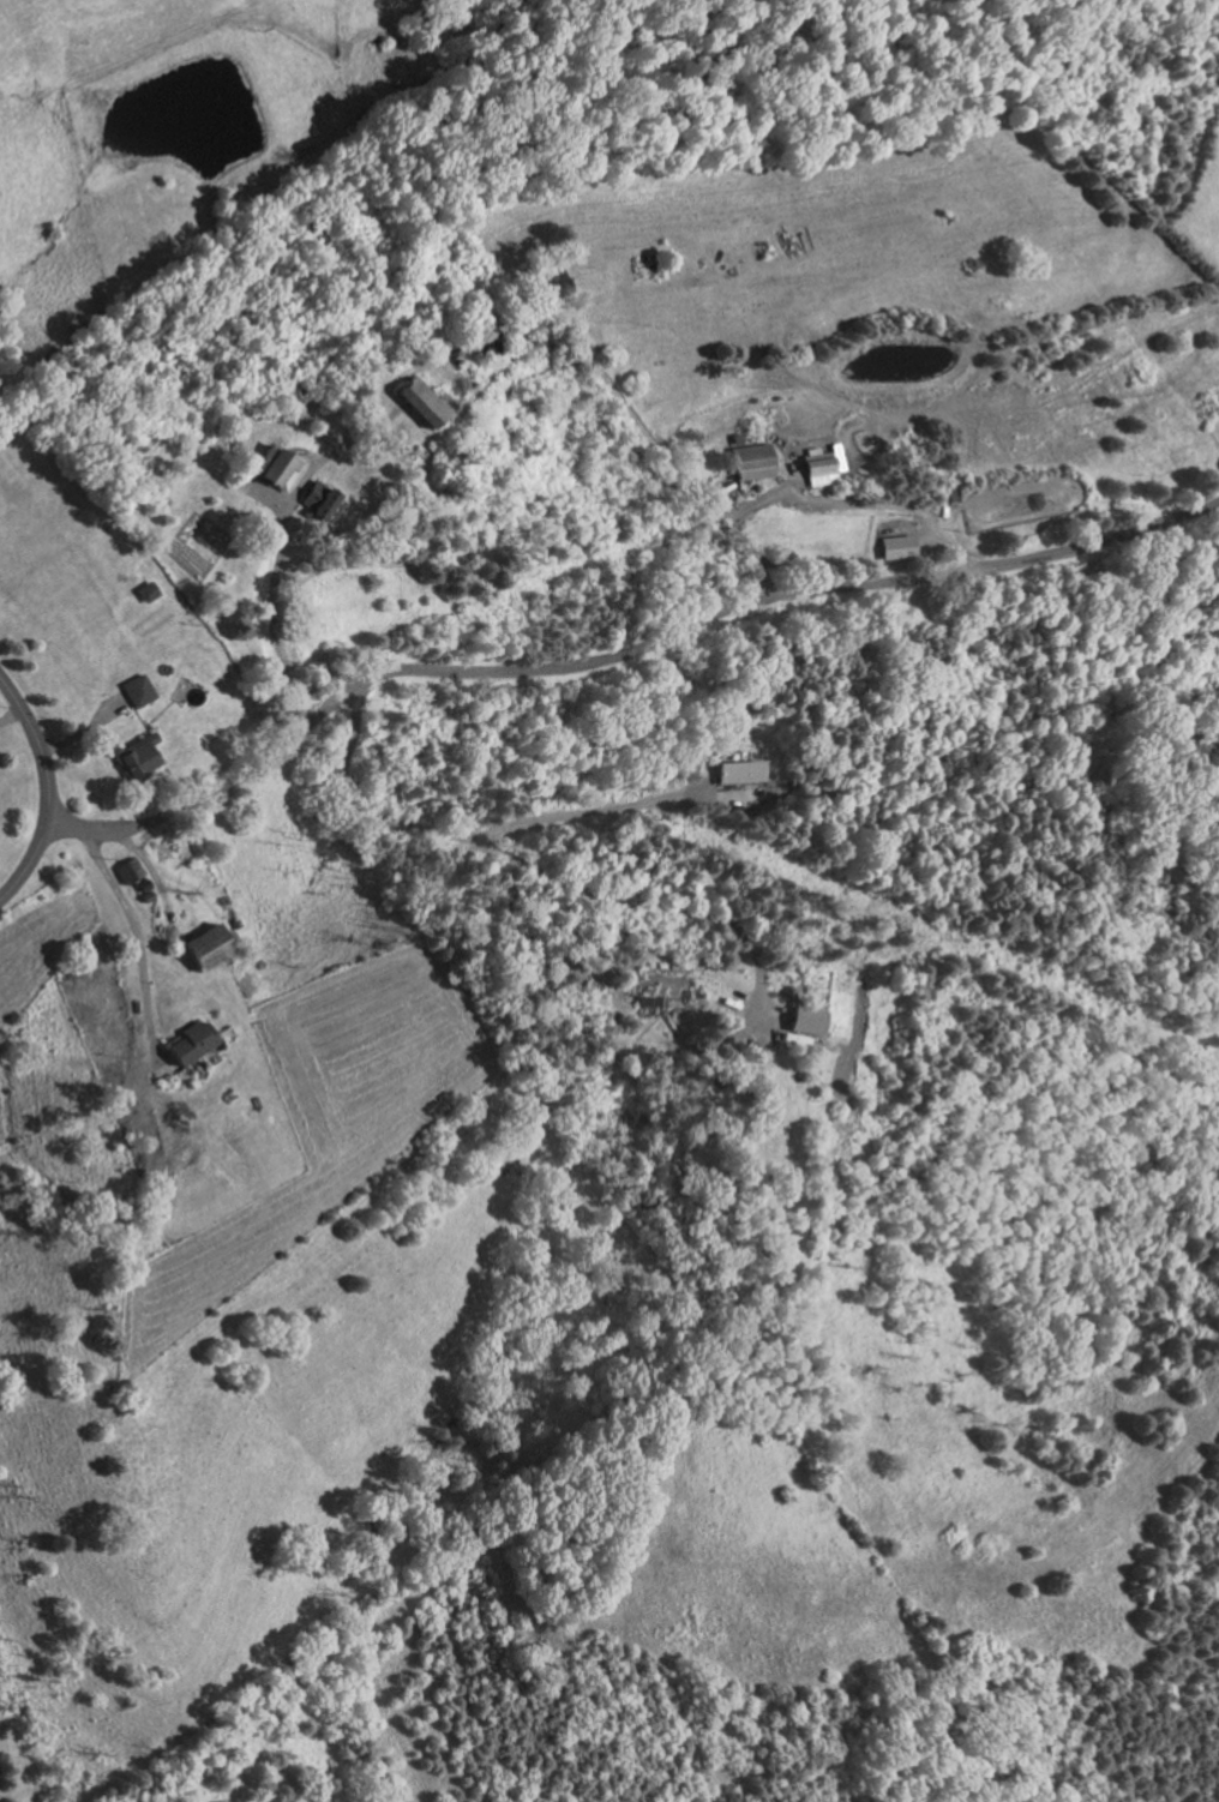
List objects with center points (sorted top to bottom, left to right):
building: (551, 281)
building: (485, 343)
road: (440, 350)
building: (420, 401)
road: (332, 450)
road: (306, 455)
building: (751, 458)
building: (821, 464)
building: (274, 465)
park: (1020, 499)
building: (317, 500)
road: (715, 500)
road: (872, 500)
road: (751, 501)
building: (244, 519)
building: (897, 543)
road: (951, 543)
building: (145, 590)
road: (266, 602)
road: (618, 655)
building: (137, 689)
road: (12, 715)
road: (86, 728)
road: (38, 743)
building: (133, 755)
building: (745, 771)
road: (598, 807)
road: (26, 863)
building: (125, 869)
road: (558, 875)
road: (152, 877)
building: (139, 884)
road: (194, 890)
building: (144, 896)
building: (232, 921)
road: (136, 944)
building: (200, 948)
building: (807, 1020)
building: (187, 1041)

